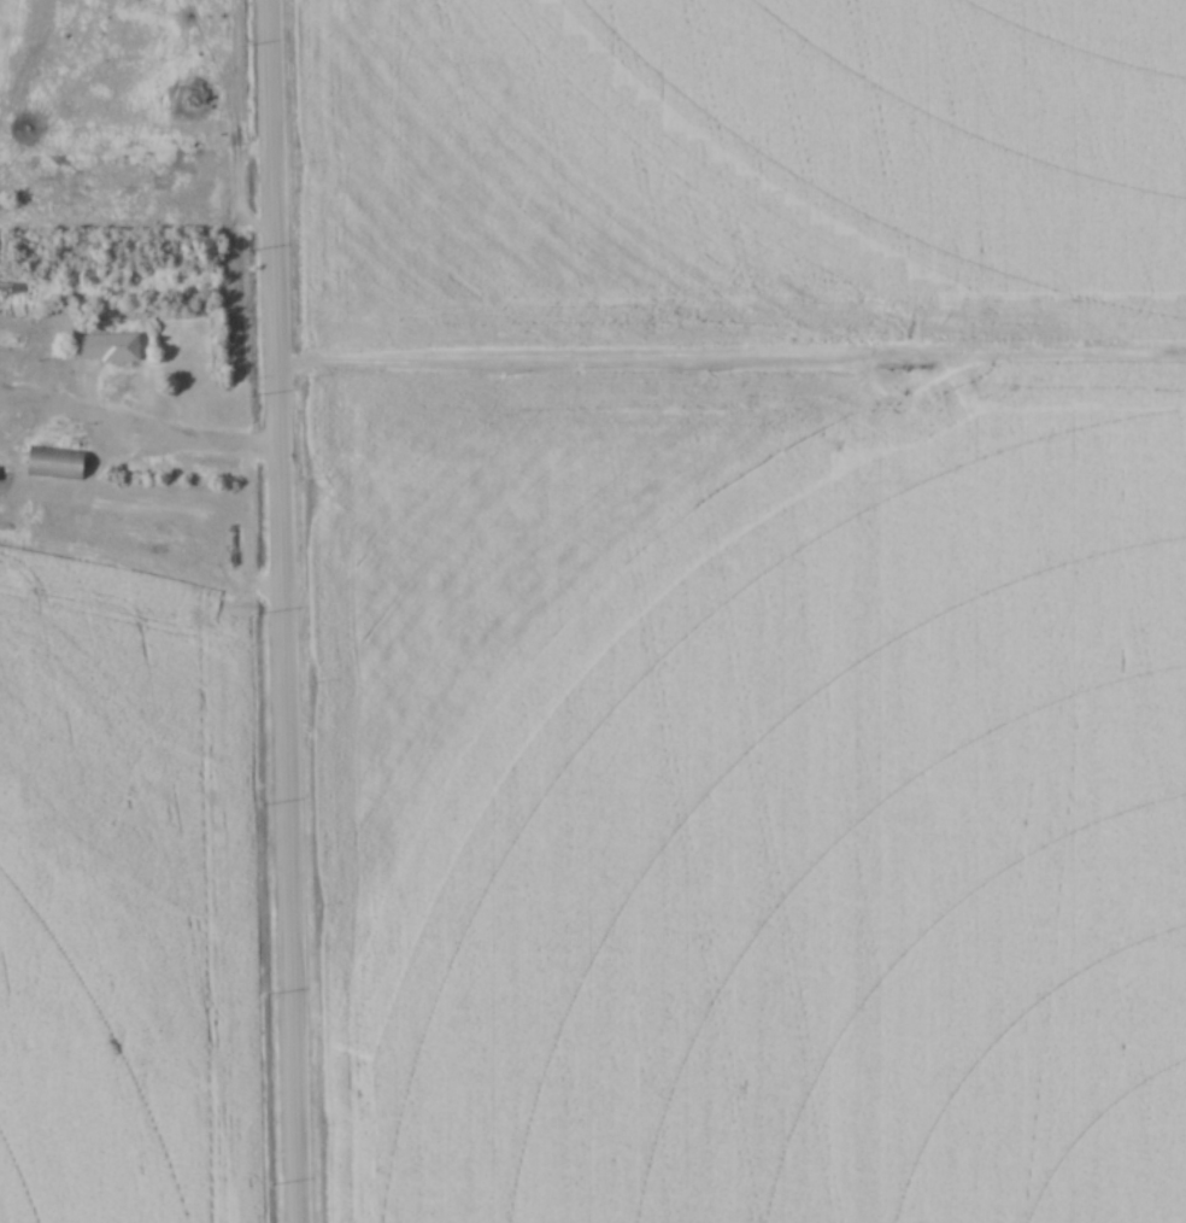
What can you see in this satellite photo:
building: (25, 340)
building: (104, 349)
road: (165, 425)
building: (51, 463)
road: (287, 610)

